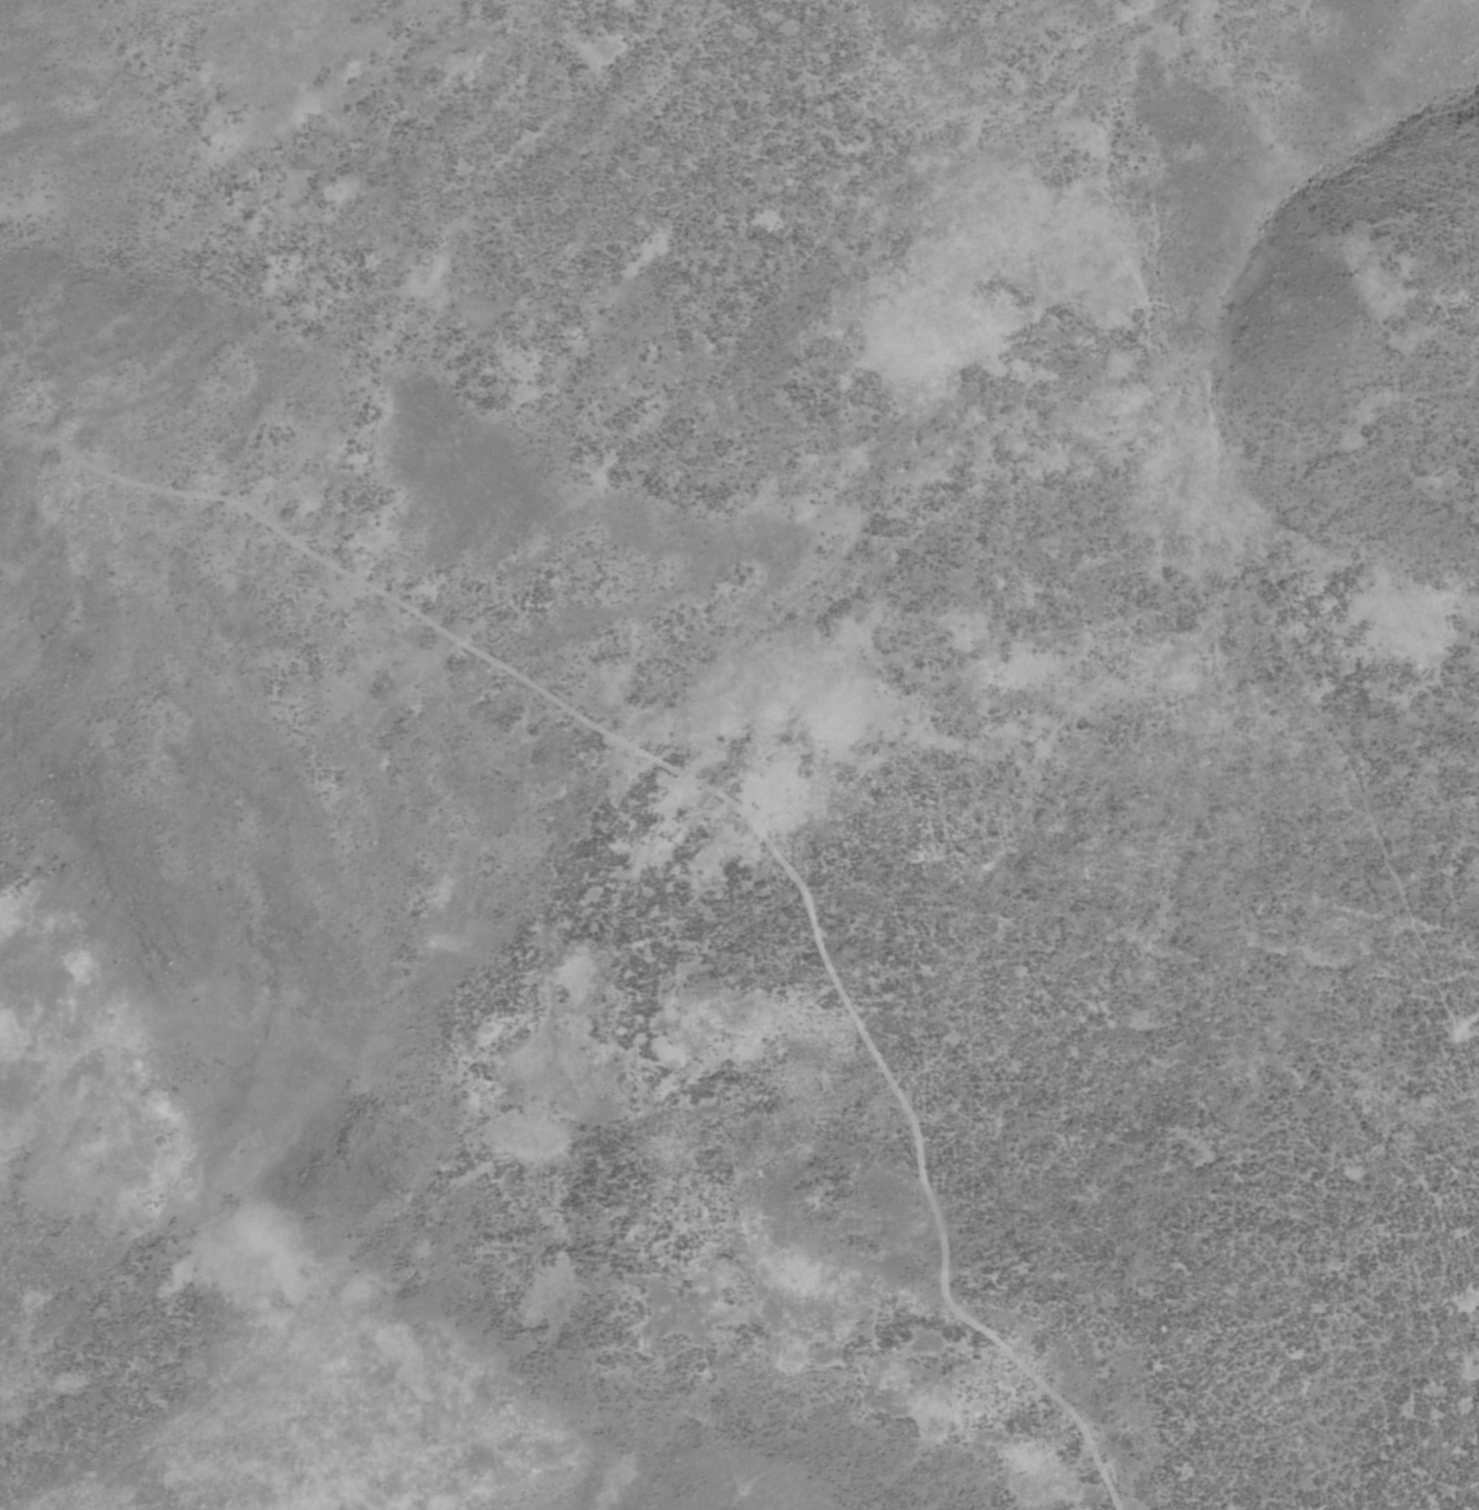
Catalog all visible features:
road: (733, 800)

